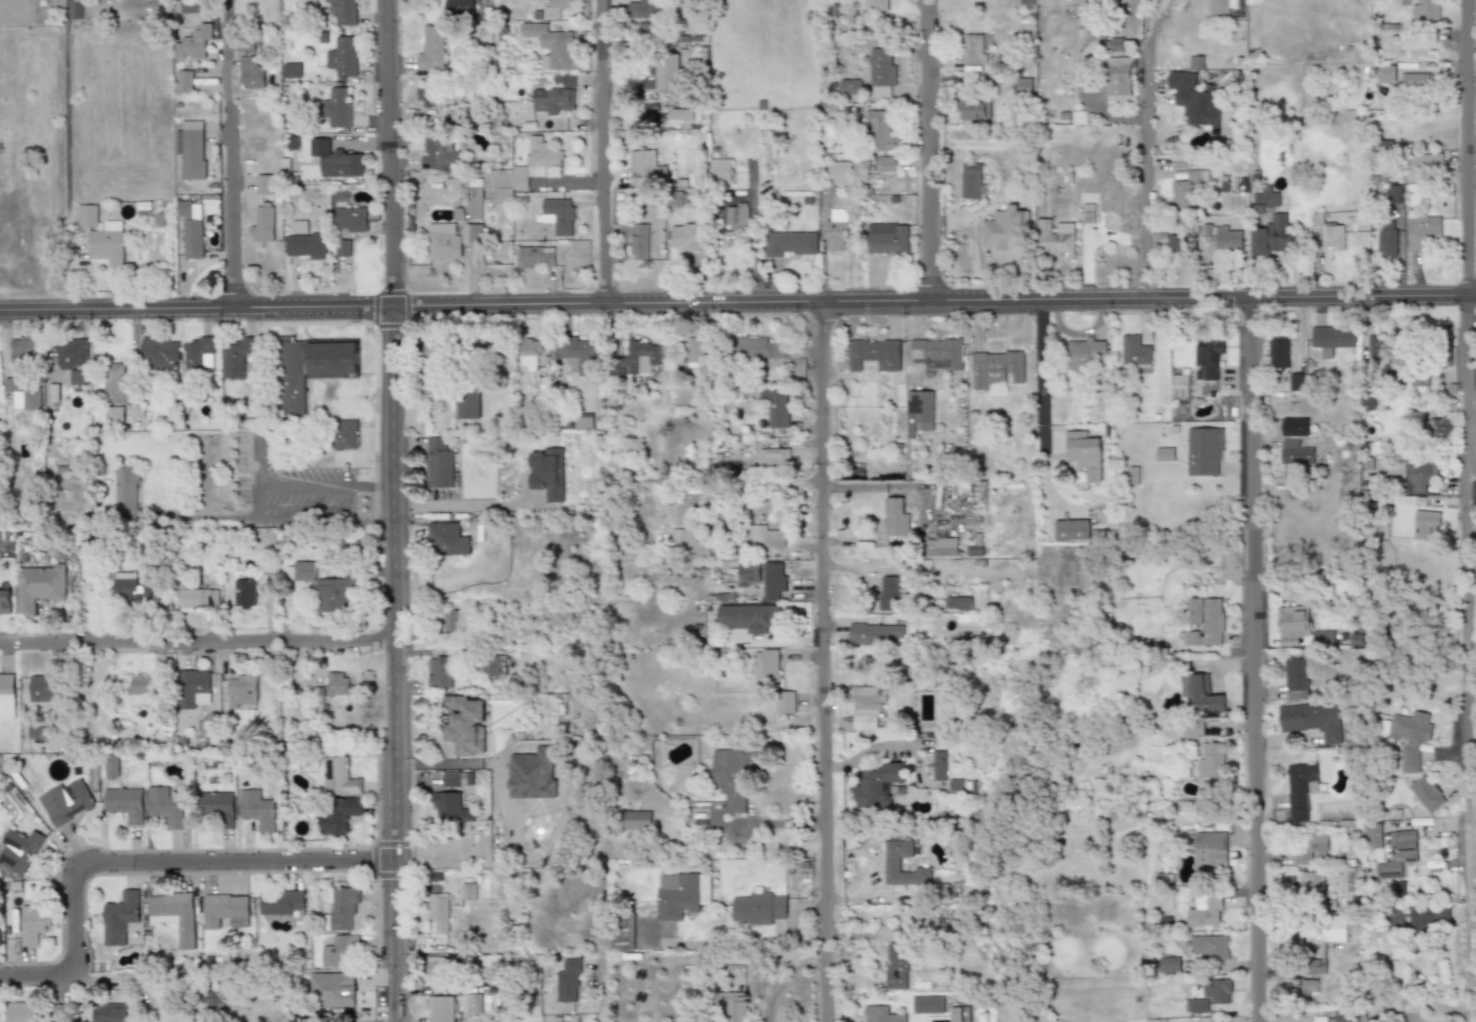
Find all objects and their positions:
building: (1025, 2)
building: (875, 5)
building: (1220, 6)
building: (458, 7)
building: (554, 7)
building: (642, 9)
building: (1425, 10)
building: (344, 12)
building: (646, 30)
building: (193, 43)
building: (549, 45)
building: (430, 48)
building: (972, 49)
building: (343, 56)
building: (671, 69)
building: (292, 70)
building: (879, 72)
building: (250, 73)
building: (1384, 74)
building: (1117, 75)
building: (567, 80)
building: (649, 80)
building: (185, 81)
building: (1415, 81)
building: (1021, 86)
building: (849, 87)
building: (424, 96)
building: (1193, 99)
building: (551, 100)
building: (336, 107)
building: (972, 109)
building: (684, 114)
building: (880, 130)
building: (191, 150)
road: (1146, 150)
road: (932, 151)
road: (606, 152)
building: (436, 154)
road: (67, 155)
road: (232, 155)
building: (335, 160)
building: (534, 162)
building: (884, 164)
building: (1424, 164)
building: (645, 168)
building: (719, 170)
building: (839, 173)
building: (970, 180)
building: (264, 184)
building: (1188, 188)
building: (1393, 194)
building: (1264, 199)
building: (474, 202)
building: (1087, 213)
building: (87, 215)
building: (557, 215)
building: (735, 217)
building: (348, 218)
building: (262, 223)
building: (298, 228)
building: (835, 230)
building: (1004, 230)
building: (1419, 230)
building: (189, 233)
building: (1270, 236)
building: (1333, 236)
building: (1384, 236)
building: (685, 237)
building: (886, 237)
building: (1055, 238)
building: (1227, 238)
building: (450, 240)
building: (1177, 241)
building: (638, 242)
road: (754, 242)
building: (789, 243)
building: (106, 246)
building: (304, 246)
building: (342, 247)
building: (535, 257)
road: (737, 304)
building: (1331, 338)
building: (755, 348)
building: (23, 350)
building: (695, 351)
building: (1133, 351)
building: (160, 352)
building: (1083, 352)
building: (1278, 352)
building: (198, 353)
building: (530, 353)
building: (580, 353)
building: (936, 353)
building: (873, 354)
building: (641, 356)
building: (239, 357)
building: (1207, 357)
building: (1384, 357)
building: (332, 359)
building: (773, 363)
building: (72, 364)
building: (995, 368)
building: (432, 370)
road: (1040, 376)
building: (290, 377)
building: (1295, 381)
building: (115, 383)
building: (10, 384)
building: (1179, 386)
building: (56, 392)
building: (30, 397)
building: (1366, 401)
building: (468, 403)
building: (775, 407)
building: (917, 412)
building: (113, 414)
building: (582, 421)
building: (1295, 426)
building: (1437, 426)
building: (344, 434)
building: (1203, 451)
building: (1296, 453)
building: (1085, 454)
building: (1163, 454)
building: (772, 456)
building: (1368, 462)
building: (438, 463)
building: (547, 473)
building: (1422, 474)
road: (255, 479)
road: (325, 483)
building: (127, 486)
road: (758, 486)
road: (462, 504)
road: (396, 510)
road: (1468, 510)
road: (923, 514)
building: (895, 517)
road: (326, 522)
building: (1425, 525)
building: (1070, 530)
building: (762, 537)
building: (447, 539)
building: (689, 543)
building: (942, 547)
building: (748, 572)
building: (772, 580)
building: (39, 587)
building: (323, 587)
building: (133, 591)
building: (245, 592)
building: (890, 593)
building: (198, 598)
building: (5, 601)
building: (958, 602)
building: (748, 617)
building: (451, 621)
building: (1204, 621)
building: (1293, 625)
building: (877, 634)
building: (1357, 639)
building: (1322, 640)
road: (199, 648)
road: (1256, 661)
road: (824, 662)
building: (492, 665)
building: (766, 665)
building: (439, 672)
building: (141, 685)
building: (340, 685)
building: (43, 688)
building: (195, 689)
building: (243, 692)
building: (1201, 694)
building: (7, 695)
building: (786, 703)
building: (866, 705)
building: (1314, 720)
building: (465, 725)
building: (35, 730)
building: (1410, 737)
building: (1211, 761)
building: (939, 765)
building: (110, 766)
building: (337, 775)
building: (732, 777)
building: (451, 779)
building: (878, 785)
building: (956, 785)
building: (1299, 789)
building: (1426, 794)
building: (65, 801)
building: (124, 804)
building: (164, 806)
building: (217, 806)
building: (449, 807)
building: (257, 810)
building: (339, 816)
building: (636, 820)
building: (1372, 835)
building: (1309, 847)
building: (19, 850)
building: (1209, 852)
building: (1397, 854)
building: (891, 862)
road: (150, 872)
building: (1310, 882)
building: (467, 891)
building: (682, 895)
building: (281, 902)
building: (342, 908)
building: (222, 909)
building: (758, 909)
building: (437, 910)
building: (1204, 911)
building: (174, 914)
building: (1395, 915)
building: (119, 917)
building: (1426, 919)
building: (33, 924)
building: (622, 930)
road: (739, 943)
building: (1322, 945)
building: (1208, 946)
building: (338, 950)
building: (1170, 964)
building: (898, 966)
building: (438, 969)
road: (785, 976)
building: (568, 980)
building: (332, 990)
building: (1217, 990)
building: (472, 1004)
building: (929, 1004)
building: (1196, 1005)
building: (734, 1006)
building: (441, 1009)
building: (20, 1012)
building: (111, 1012)
building: (883, 1015)
building: (1343, 1017)
road: (601, 1019)
building: (1218, 1021)

